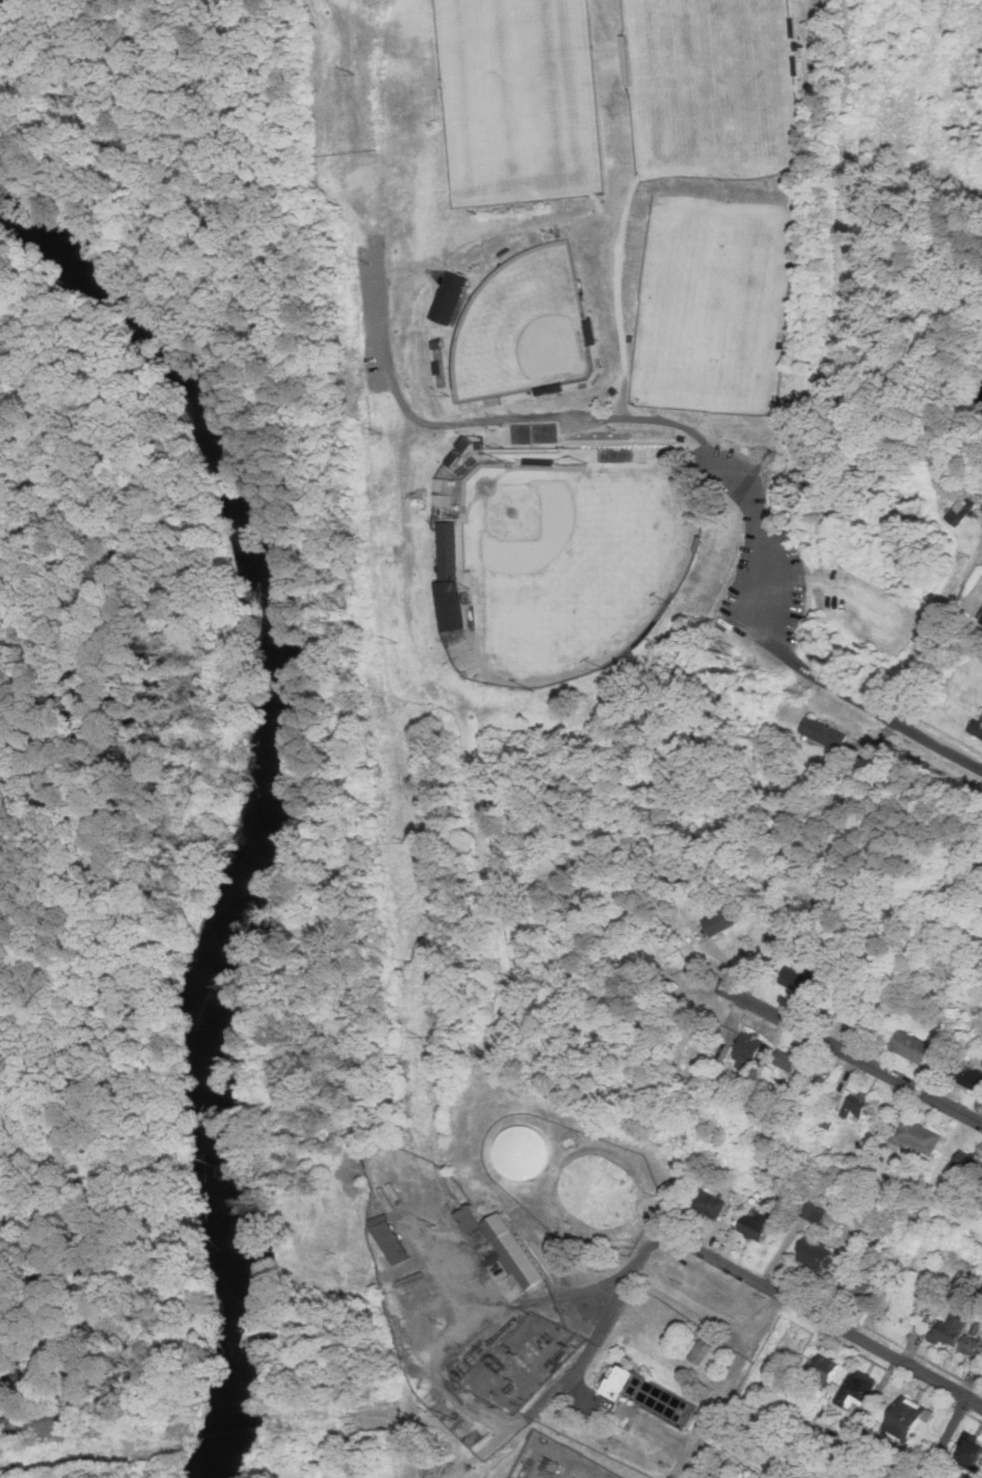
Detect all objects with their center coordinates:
park: (711, 87)
park: (515, 99)
park: (713, 304)
park: (583, 320)
park: (522, 331)
building: (463, 457)
building: (960, 510)
river: (245, 524)
building: (449, 551)
park: (574, 557)
road: (789, 579)
road: (741, 591)
building: (979, 615)
road: (938, 634)
road: (782, 651)
road: (891, 715)
building: (976, 726)
building: (822, 731)
building: (717, 920)
building: (795, 979)
building: (853, 1010)
building: (726, 1033)
building: (727, 1045)
building: (908, 1045)
building: (747, 1048)
road: (857, 1057)
building: (785, 1059)
building: (966, 1074)
building: (775, 1089)
building: (854, 1105)
building: (825, 1120)
building: (918, 1135)
building: (522, 1153)
building: (964, 1161)
building: (600, 1191)
building: (708, 1203)
building: (813, 1208)
river: (240, 1212)
building: (468, 1217)
building: (753, 1225)
building: (397, 1233)
building: (518, 1245)
building: (811, 1253)
road: (674, 1288)
building: (858, 1288)
road: (821, 1318)
building: (947, 1329)
building: (969, 1345)
building: (699, 1352)
building: (824, 1369)
road: (730, 1370)
building: (616, 1383)
road: (554, 1385)
building: (856, 1389)
building: (905, 1419)
road: (942, 1437)
building: (969, 1451)
building: (906, 1457)

